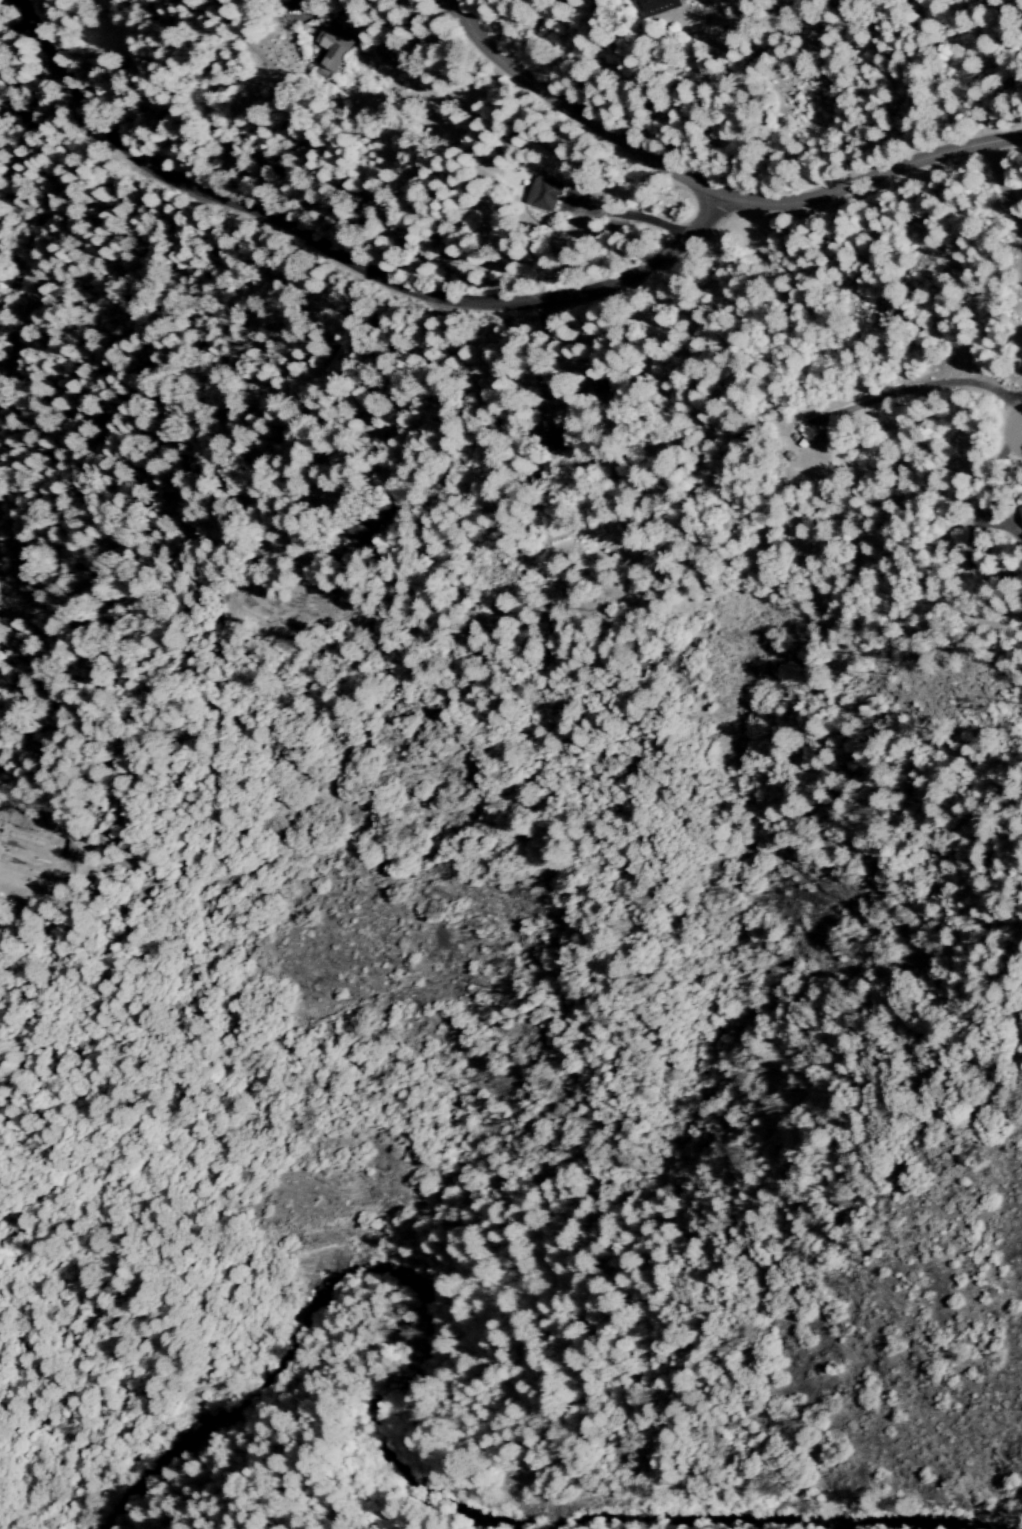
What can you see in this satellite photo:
building: (665, 6)
building: (335, 50)
road: (715, 187)
road: (1006, 190)
building: (546, 196)
road: (343, 258)
road: (1020, 365)

